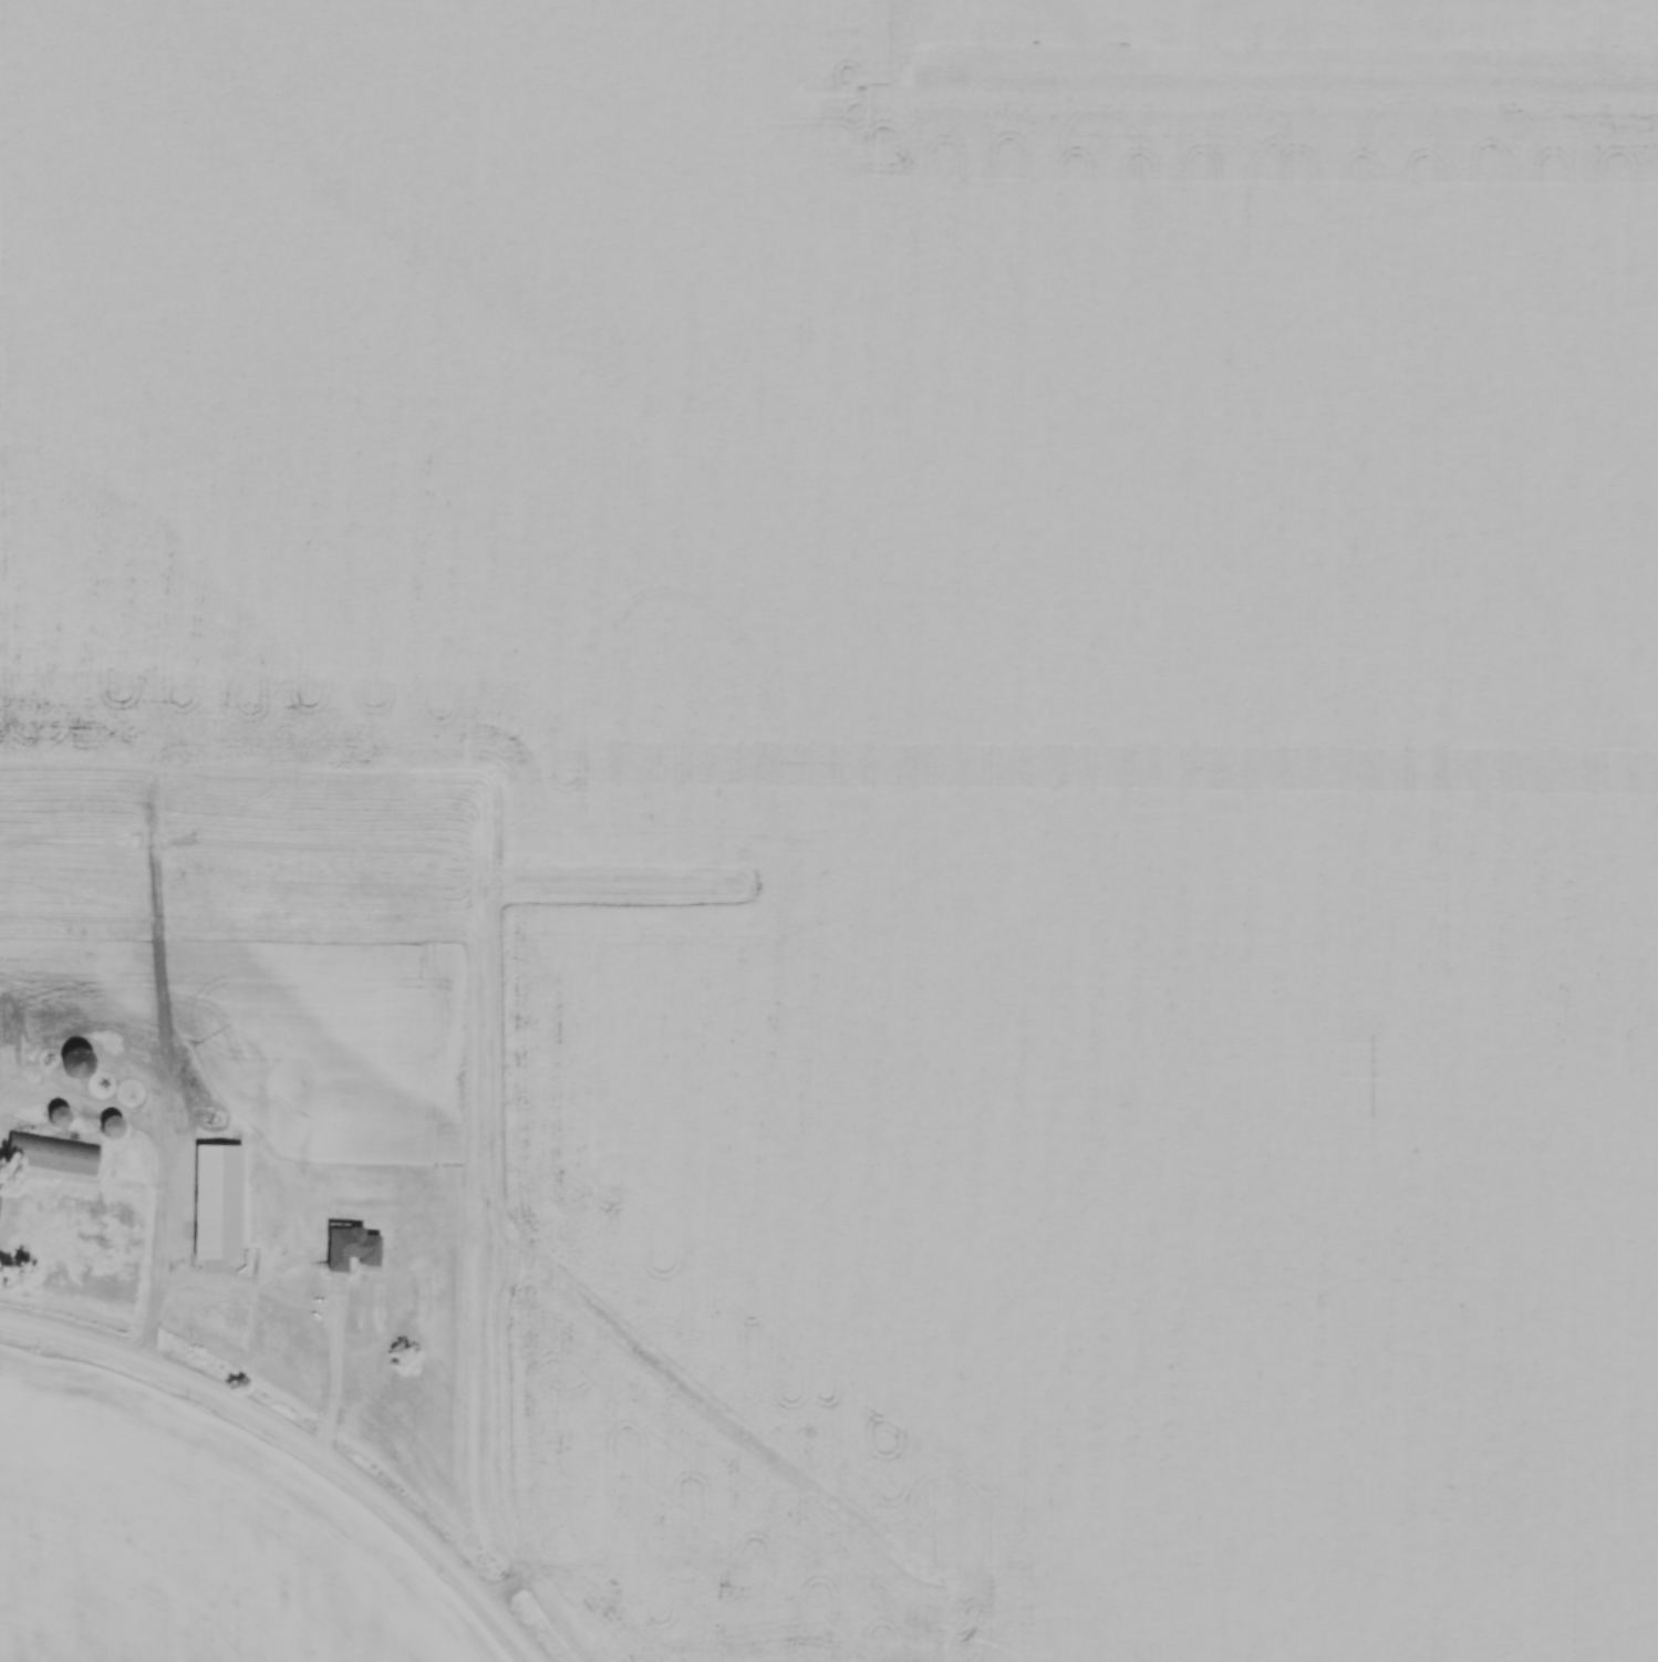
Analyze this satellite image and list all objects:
building: (79, 1063)
building: (104, 1086)
building: (133, 1094)
building: (58, 1121)
building: (115, 1126)
road: (155, 1128)
building: (53, 1156)
building: (220, 1203)
building: (354, 1249)
road: (280, 1291)
road: (300, 1438)

